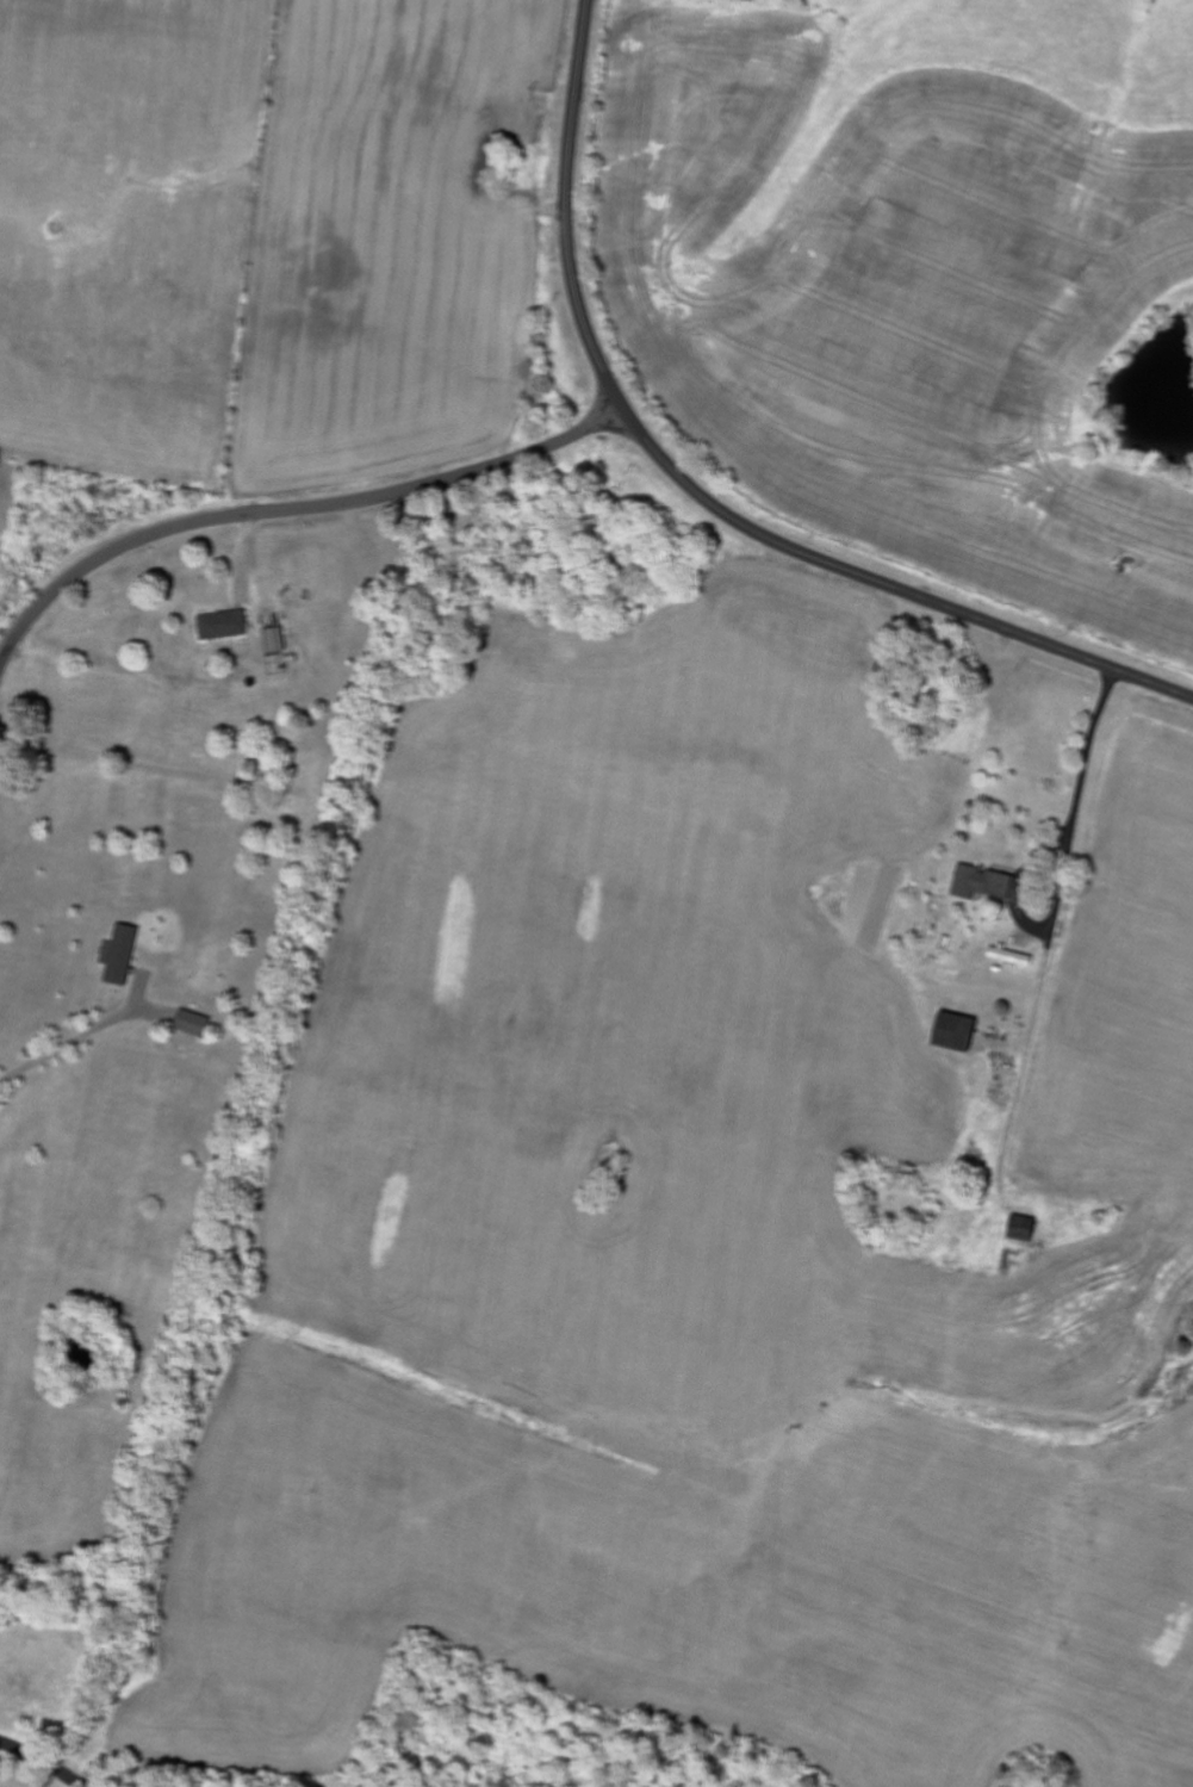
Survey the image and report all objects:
road: (568, 210)
road: (290, 509)
road: (889, 585)
building: (226, 626)
building: (276, 641)
building: (988, 885)
building: (125, 956)
building: (1013, 957)
building: (197, 1024)
building: (962, 1034)
road: (43, 1760)

